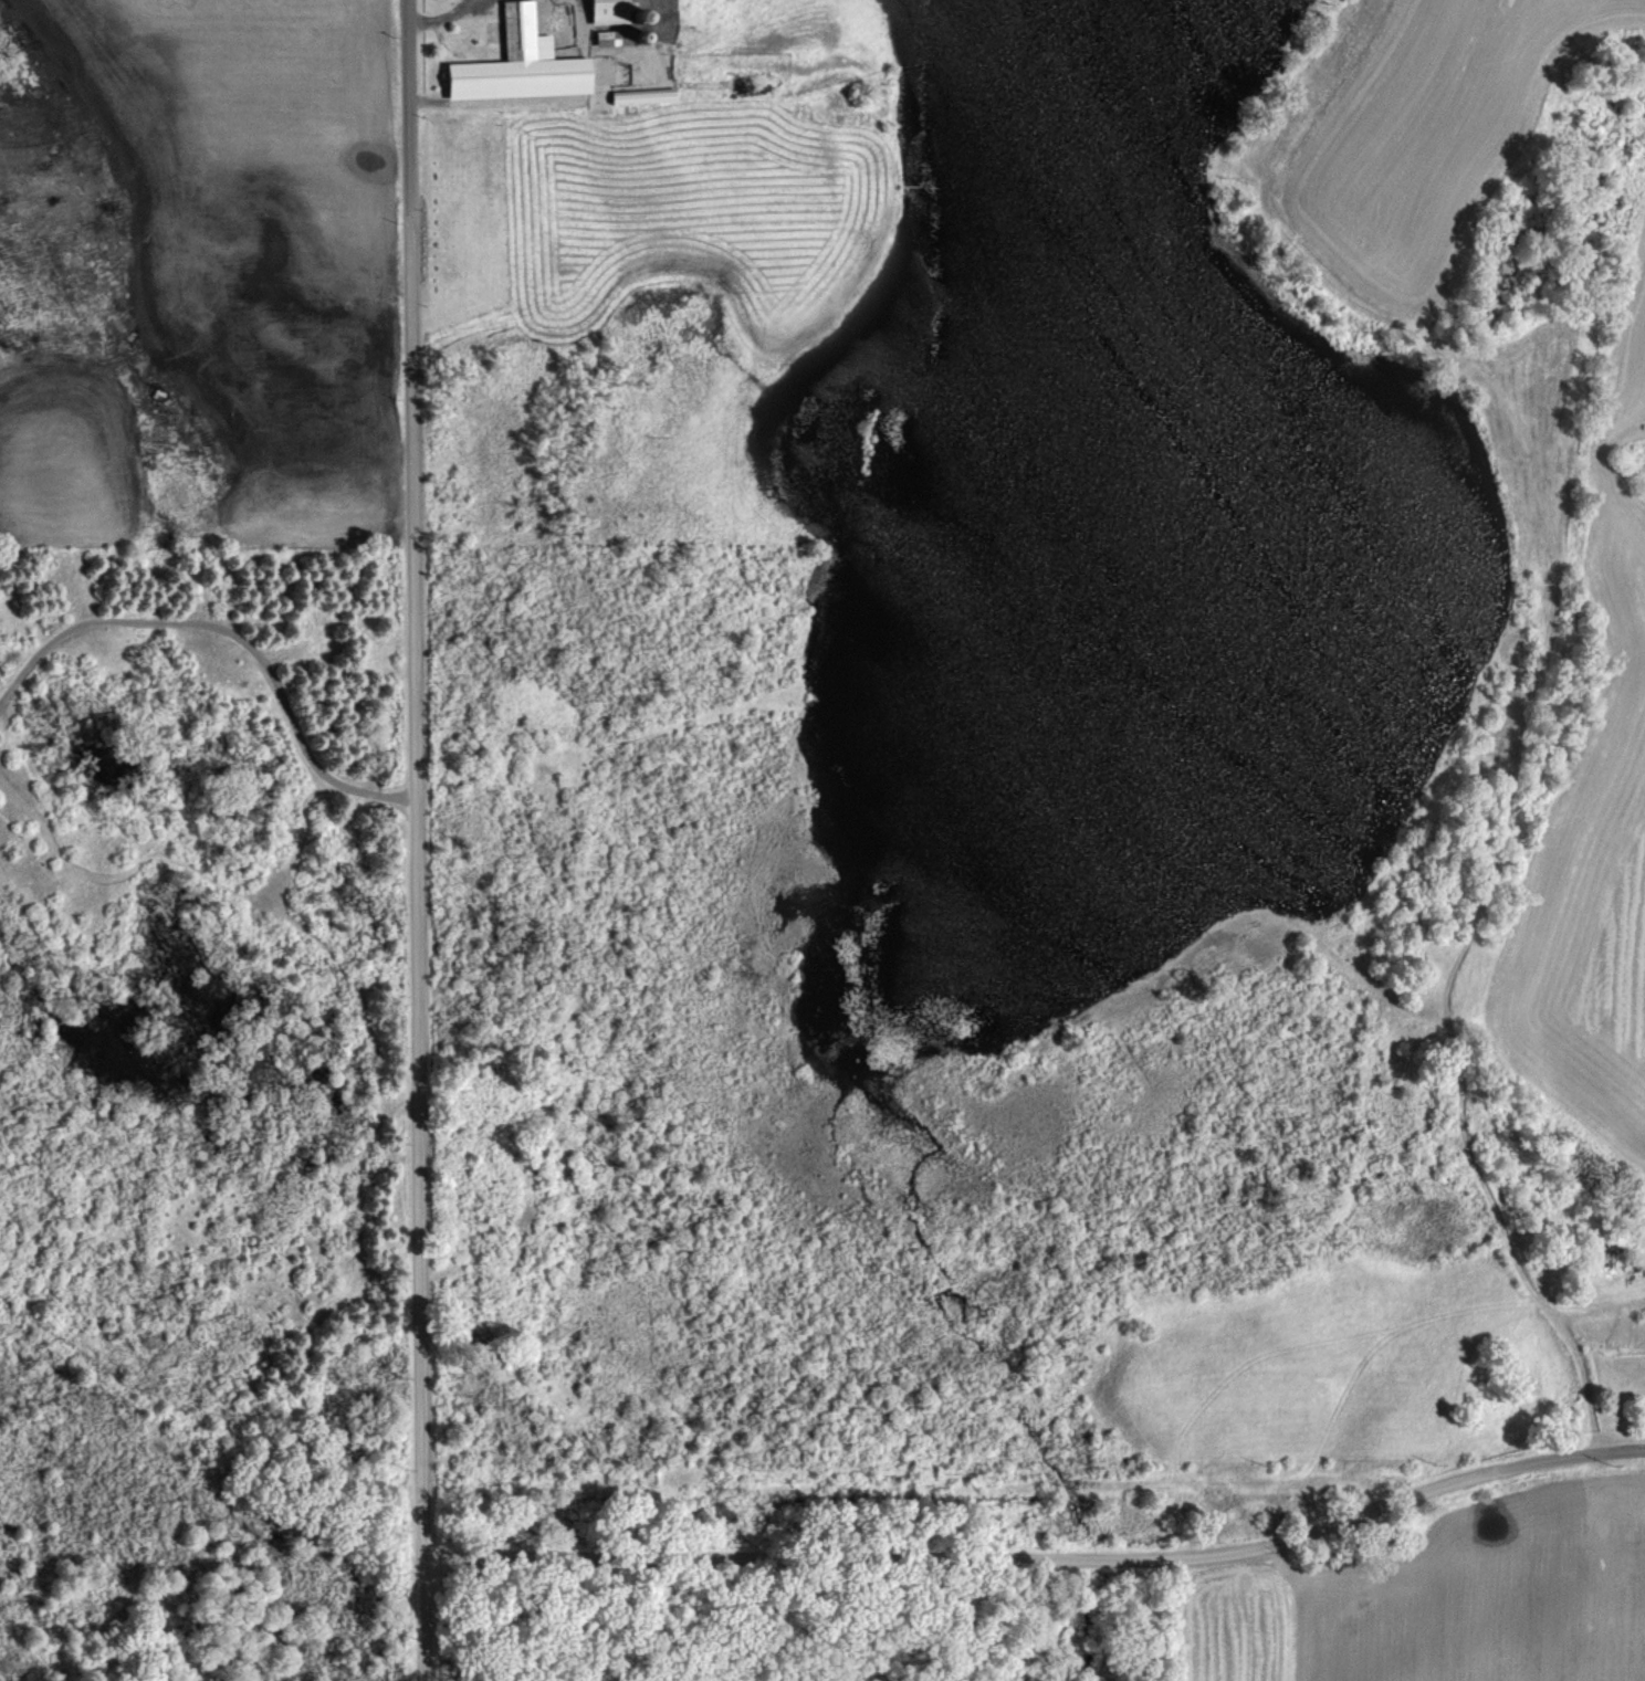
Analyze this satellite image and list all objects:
building: (611, 11)
building: (615, 38)
building: (523, 64)
building: (646, 96)
road: (233, 632)
road: (416, 840)
road: (1042, 1556)

